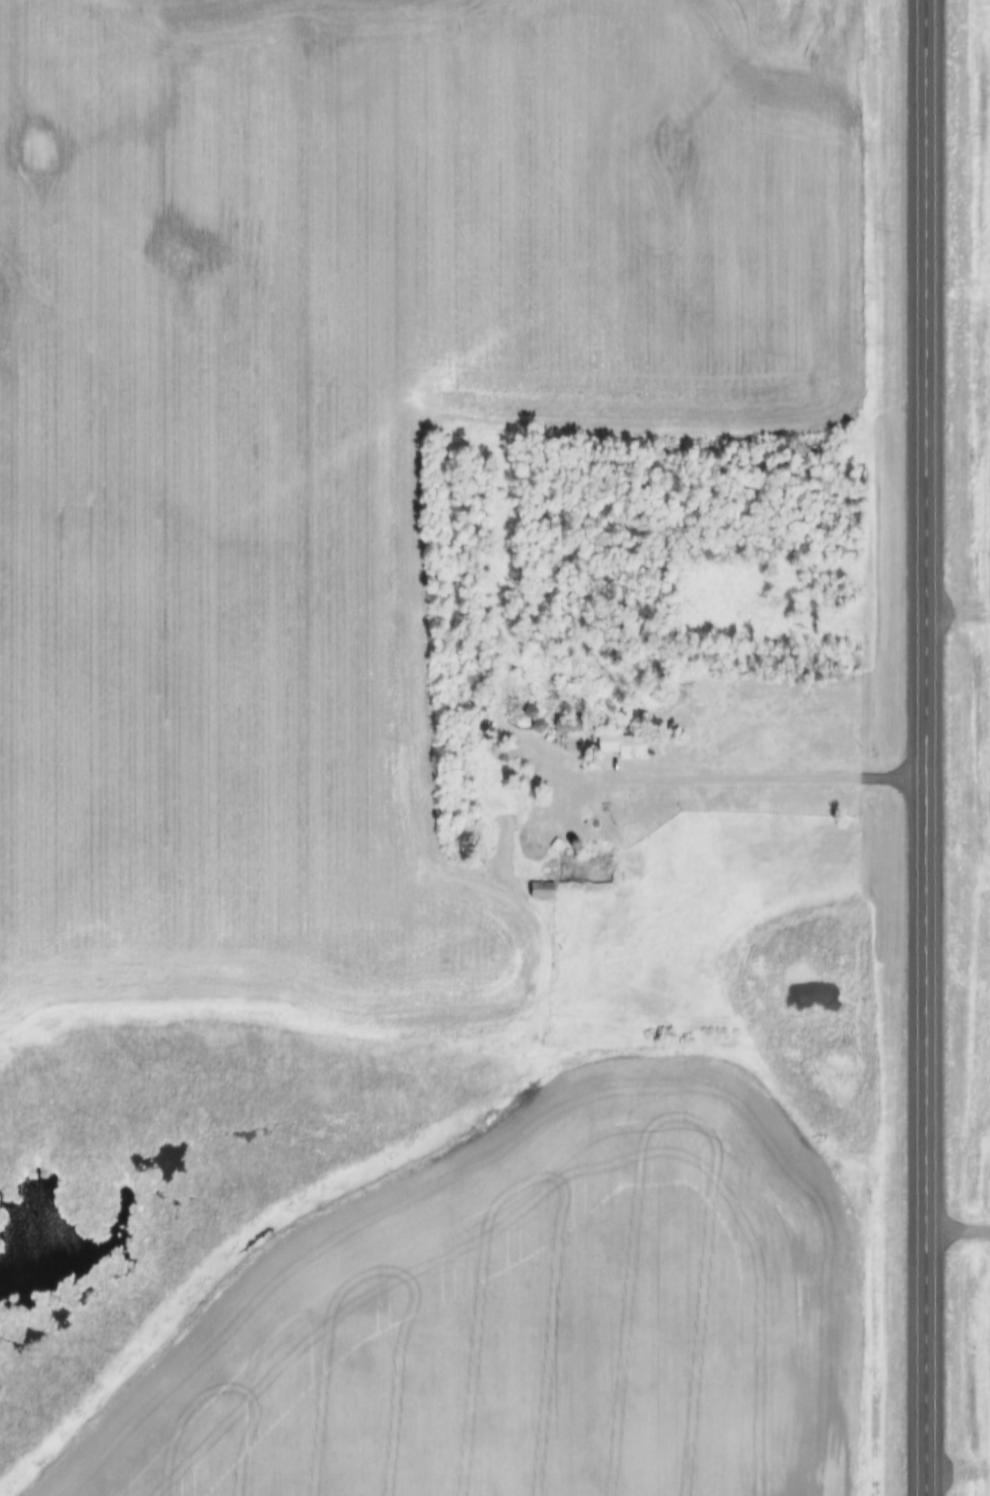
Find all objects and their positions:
building: (573, 726)
building: (627, 745)
road: (936, 748)
road: (777, 780)
building: (581, 875)
road: (963, 1230)

